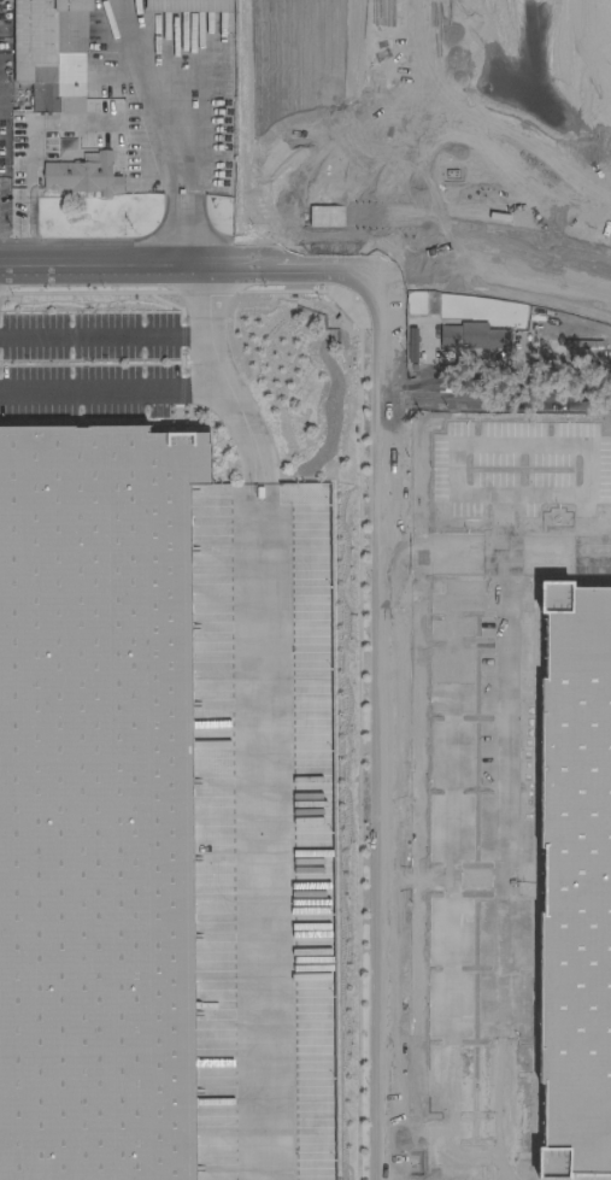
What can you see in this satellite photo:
building: (186, 5)
building: (49, 52)
road: (386, 125)
building: (495, 136)
road: (184, 148)
building: (81, 175)
road: (193, 254)
road: (500, 258)
road: (210, 322)
road: (106, 335)
building: (471, 335)
road: (480, 388)
road: (114, 392)
road: (557, 546)
road: (499, 703)
road: (383, 715)
road: (258, 781)
building: (92, 791)
building: (577, 870)
road: (442, 1003)
road: (494, 1163)

